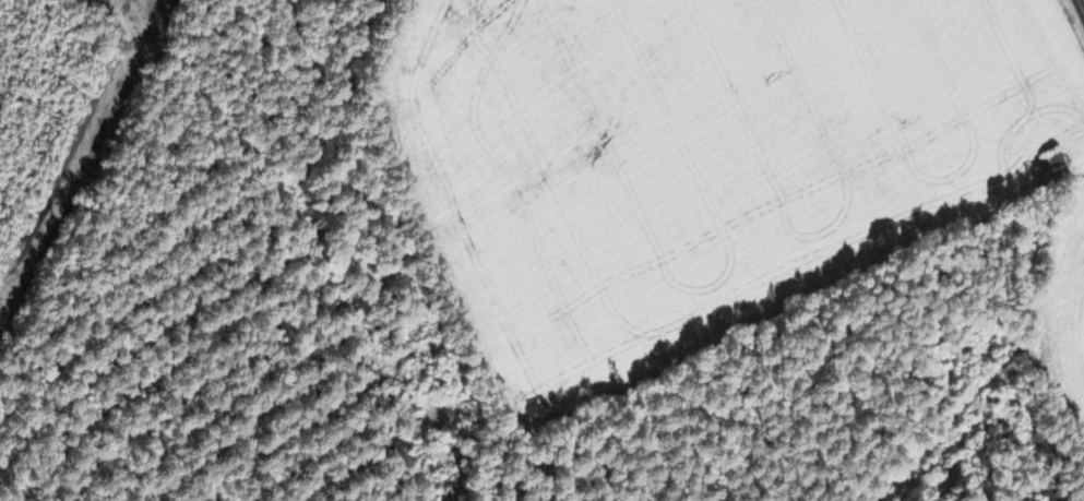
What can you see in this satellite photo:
road: (1081, 4)
building: (1053, 158)

